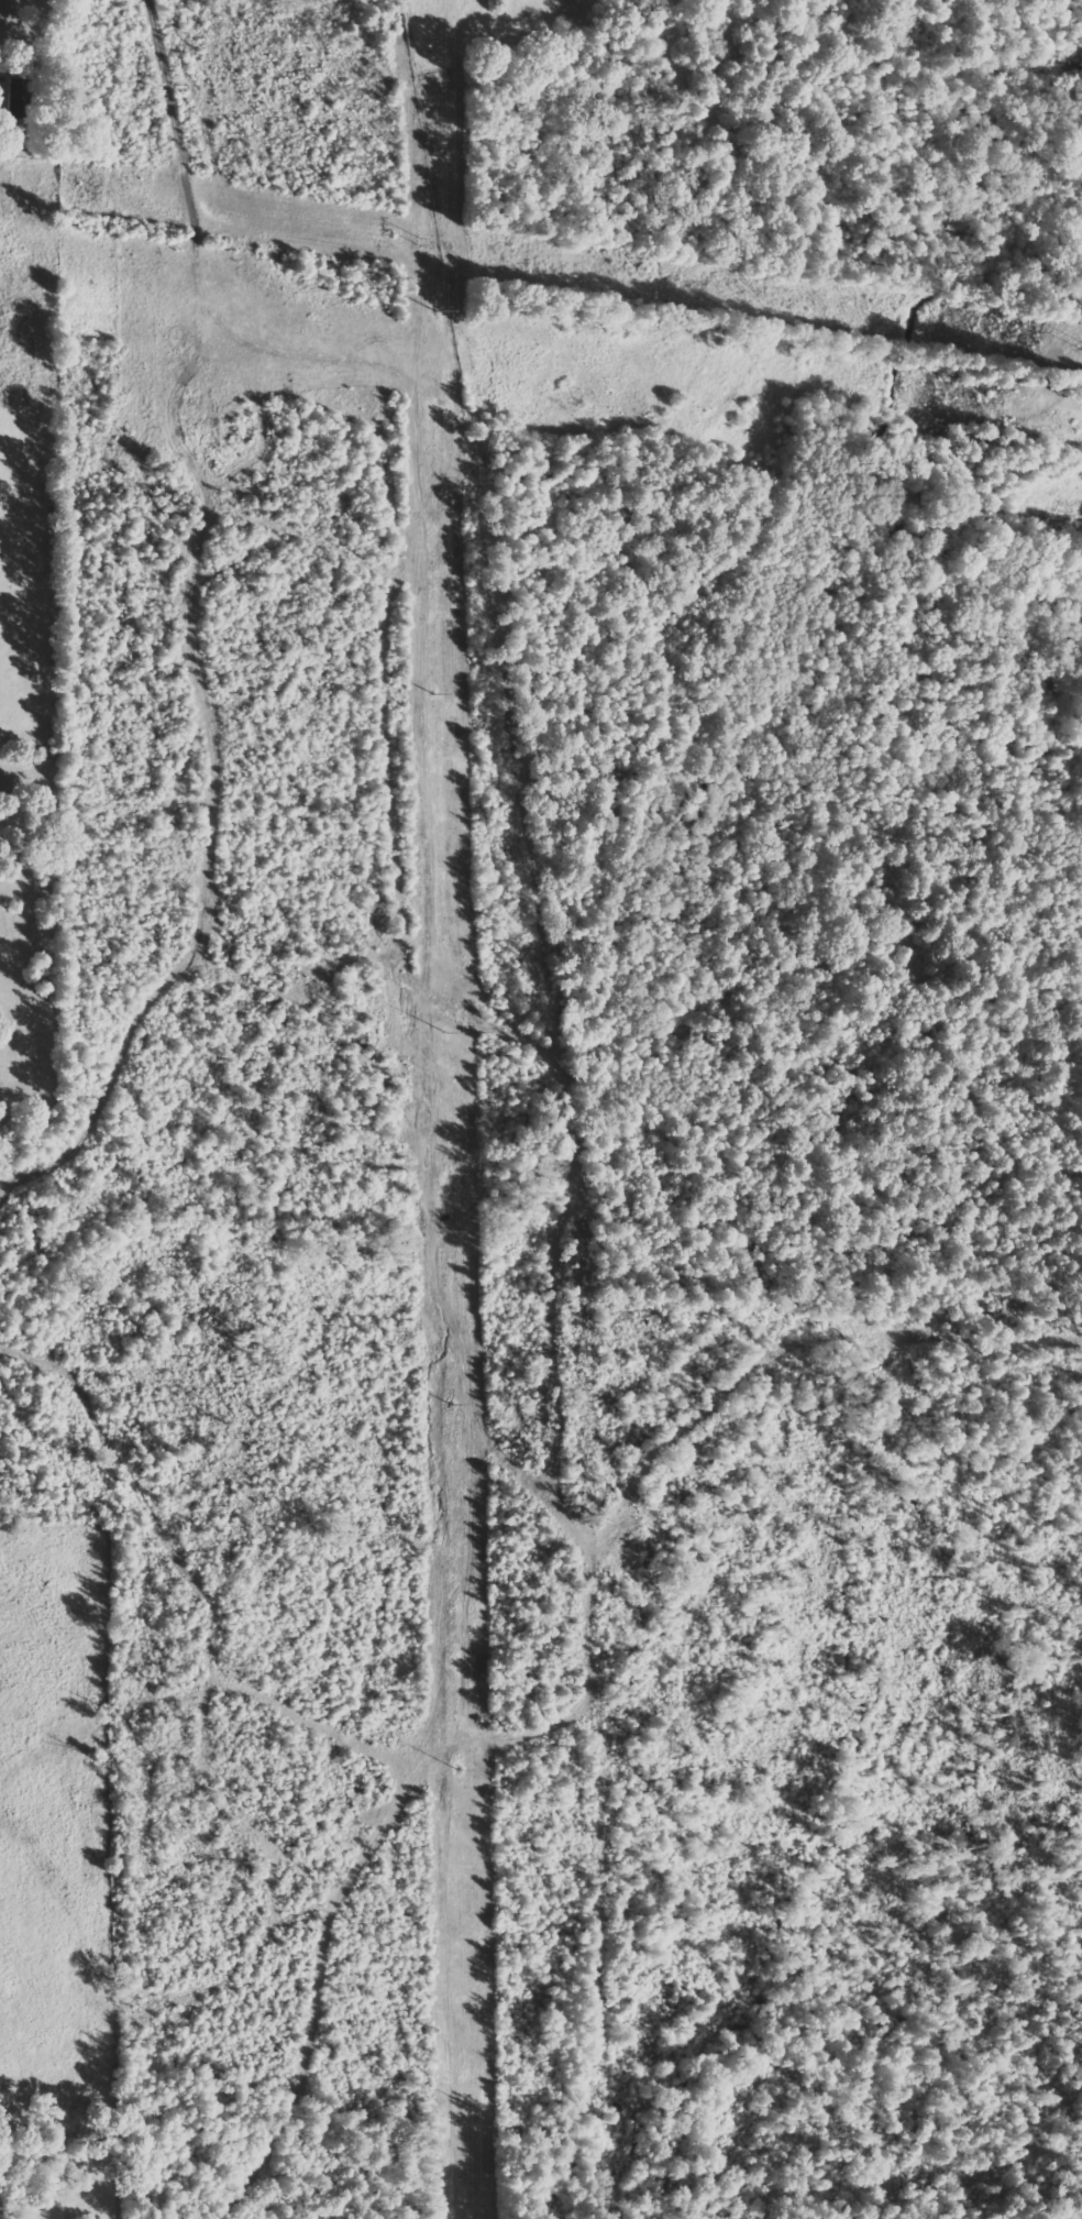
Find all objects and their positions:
building: (15, 98)

